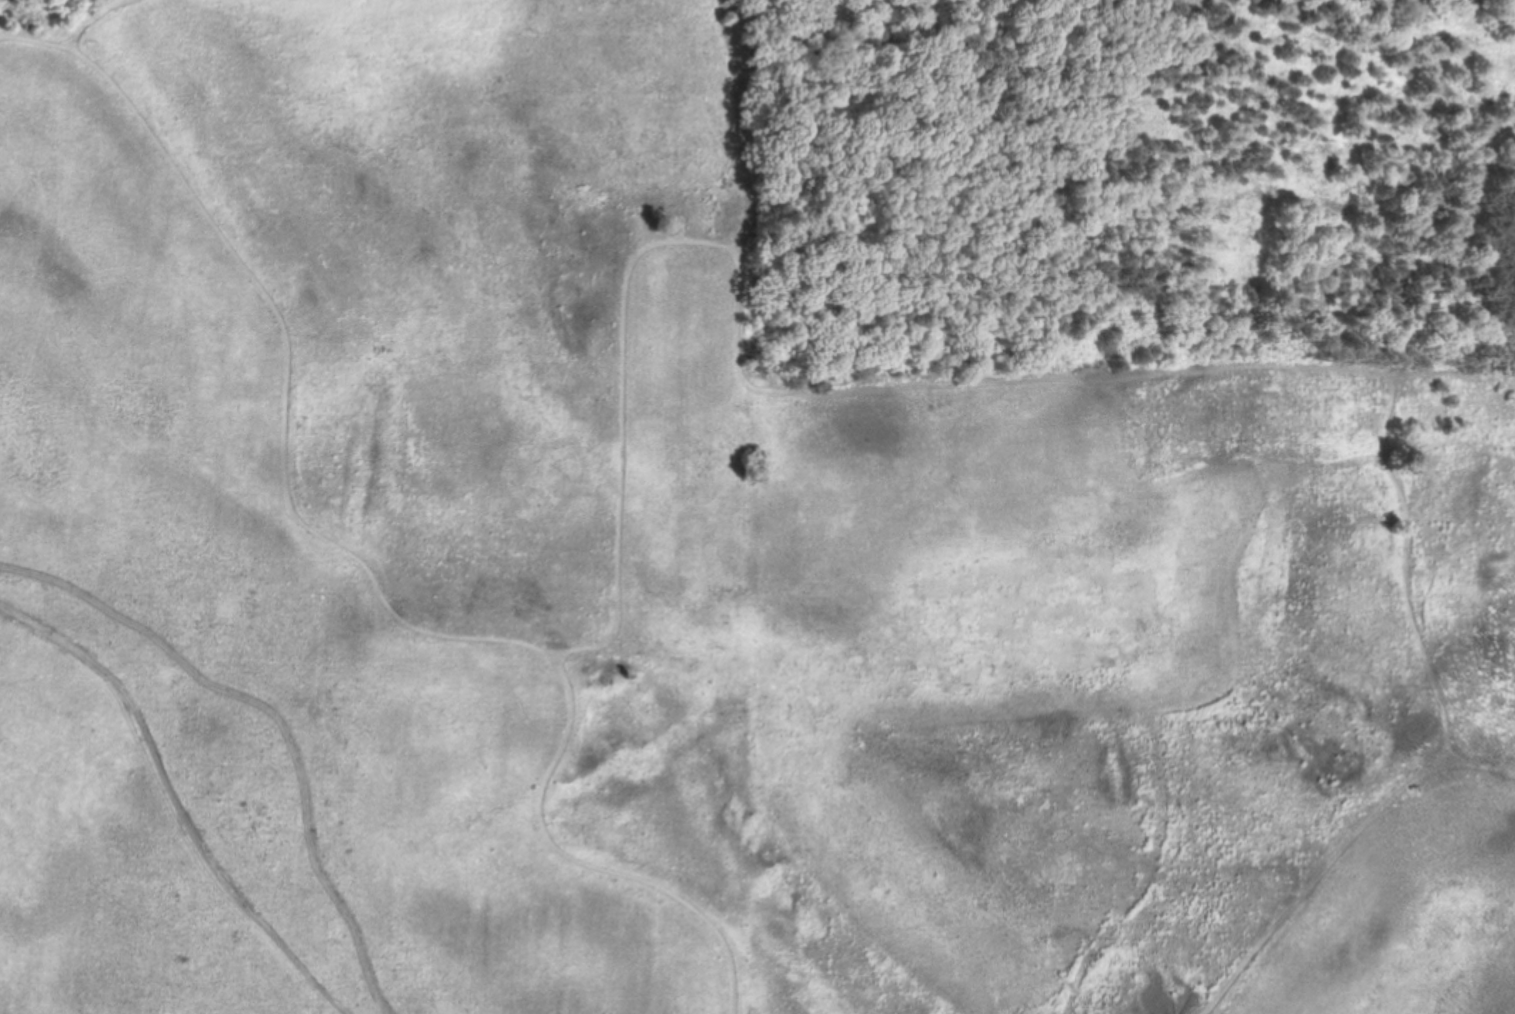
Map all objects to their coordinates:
road: (91, 18)
road: (735, 127)
crop: (1138, 171)
road: (739, 361)
road: (288, 364)
road: (1453, 373)
road: (1405, 569)
road: (1481, 765)
road: (176, 801)
road: (584, 863)
road: (1316, 879)

